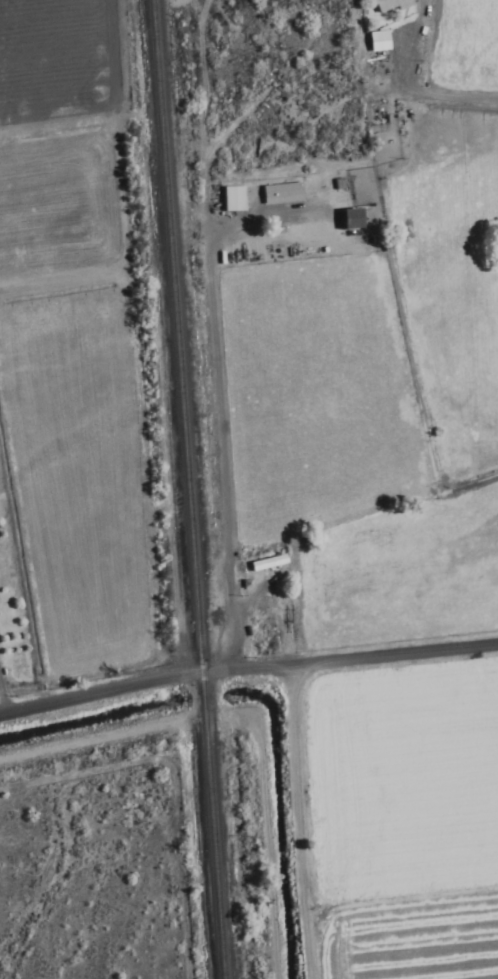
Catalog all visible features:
road: (208, 7)
building: (386, 7)
building: (374, 43)
road: (212, 78)
road: (464, 94)
road: (52, 127)
road: (111, 193)
building: (278, 196)
building: (229, 202)
building: (346, 221)
road: (223, 309)
railway: (184, 489)
building: (263, 566)
road: (247, 669)
road: (309, 822)

